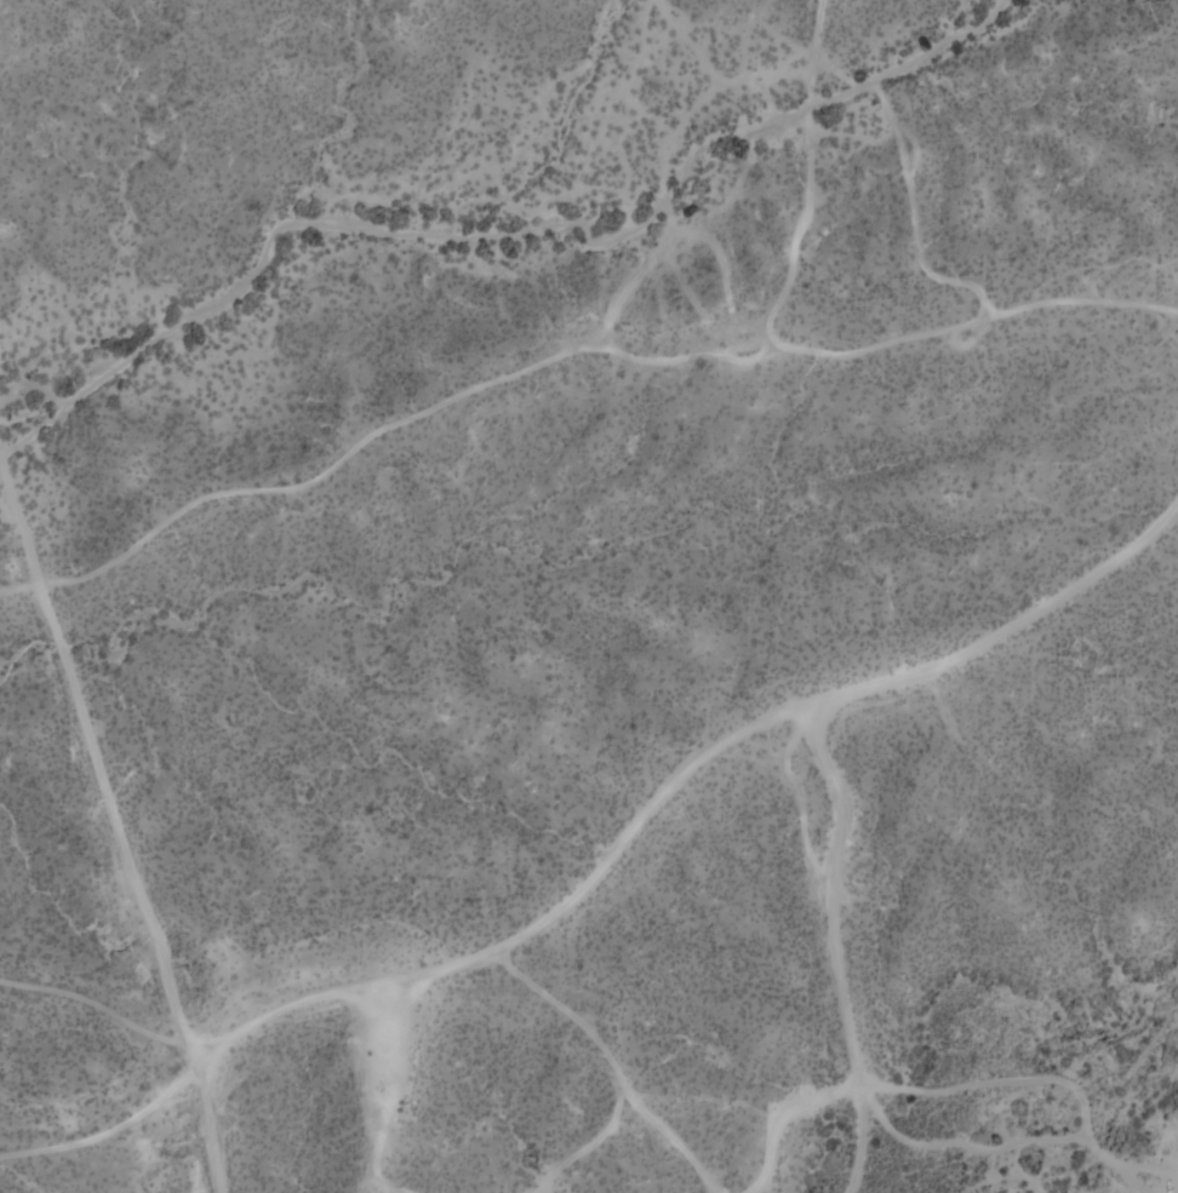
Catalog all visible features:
road: (812, 44)
road: (913, 222)
road: (963, 345)
road: (562, 351)
road: (115, 819)
road: (604, 861)
road: (854, 1076)
road: (379, 1097)
road: (859, 1141)

